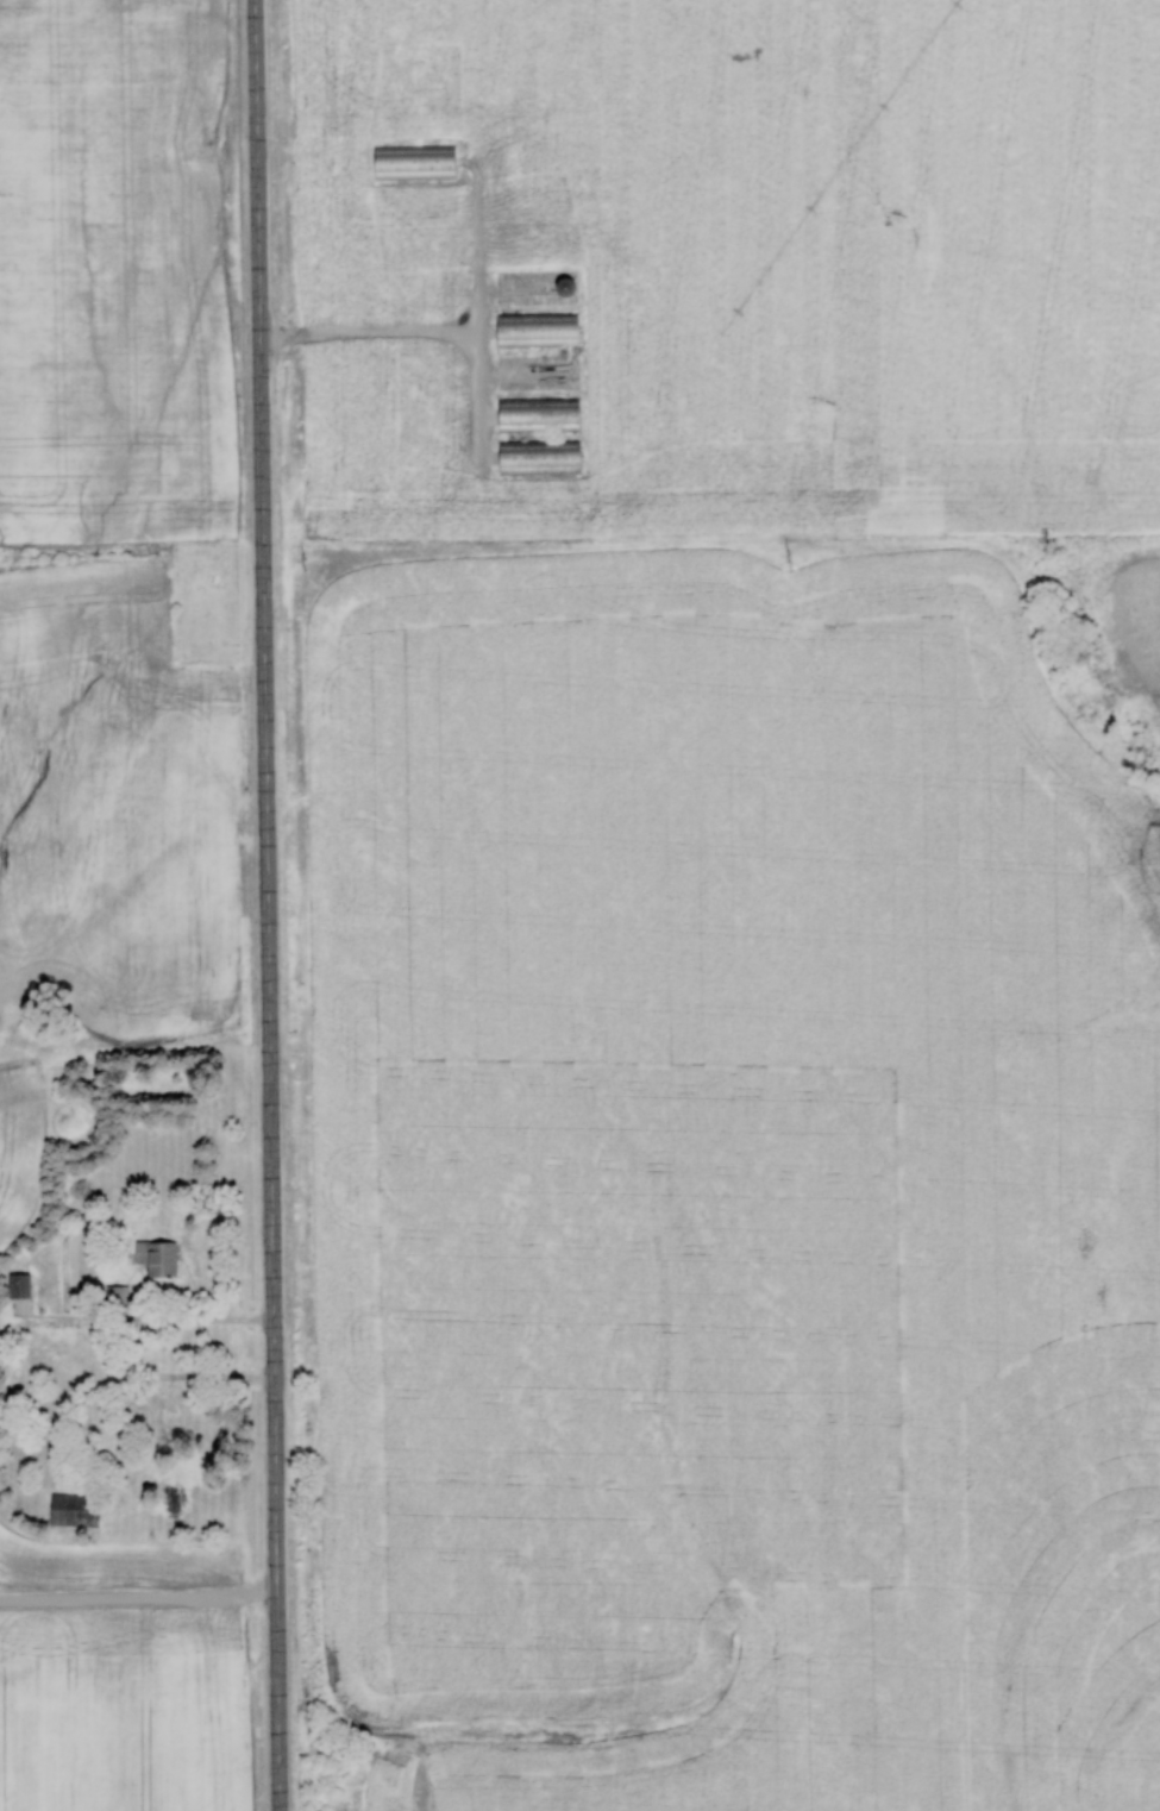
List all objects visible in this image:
building: (412, 162)
building: (563, 286)
building: (535, 330)
building: (537, 414)
building: (537, 457)
power tower: (790, 559)
power tower: (306, 564)
road: (265, 904)
building: (156, 1258)
building: (18, 1285)
building: (117, 1297)
building: (73, 1509)

